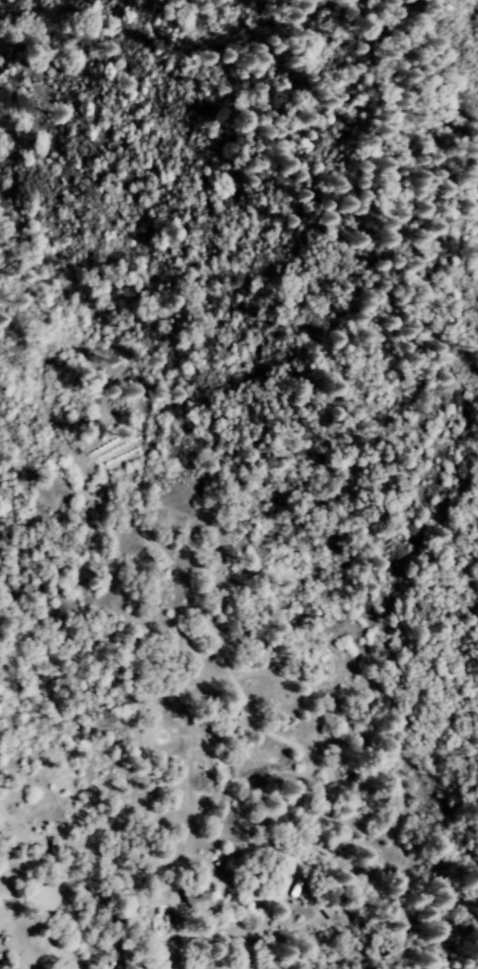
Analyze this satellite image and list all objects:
building: (1, 820)

